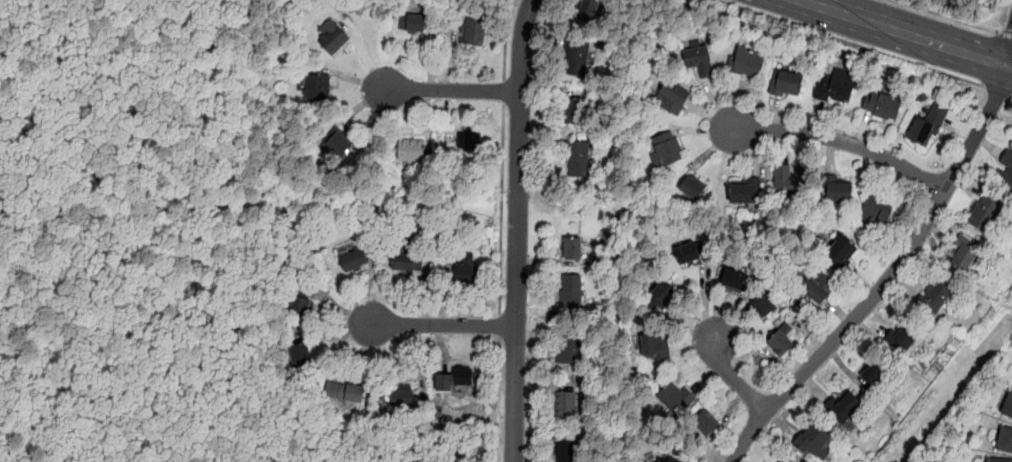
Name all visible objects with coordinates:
building: (586, 10)
road: (944, 16)
building: (412, 23)
building: (345, 26)
building: (474, 32)
road: (909, 34)
road: (1005, 35)
building: (331, 38)
road: (506, 38)
road: (850, 43)
road: (1009, 57)
building: (576, 58)
building: (698, 61)
building: (746, 63)
building: (788, 84)
building: (317, 88)
road: (447, 90)
road: (504, 90)
building: (834, 90)
road: (997, 90)
building: (672, 100)
building: (882, 106)
building: (577, 111)
building: (926, 127)
building: (340, 138)
building: (468, 140)
road: (841, 140)
building: (668, 150)
building: (410, 153)
building: (578, 158)
building: (1005, 169)
building: (790, 181)
building: (691, 189)
building: (838, 191)
building: (743, 193)
park: (583, 204)
park: (346, 205)
road: (501, 208)
building: (876, 210)
building: (984, 214)
park: (135, 228)
road: (517, 230)
building: (573, 247)
road: (185, 249)
building: (688, 252)
building: (840, 253)
building: (961, 256)
building: (353, 258)
building: (407, 262)
building: (466, 269)
road: (888, 277)
building: (733, 280)
building: (819, 287)
building: (572, 292)
building: (661, 297)
building: (934, 297)
building: (764, 305)
building: (299, 307)
road: (443, 326)
road: (499, 326)
building: (904, 336)
building: (780, 345)
building: (570, 348)
building: (653, 351)
building: (300, 358)
building: (873, 372)
road: (733, 378)
building: (454, 379)
building: (346, 395)
building: (402, 397)
building: (675, 399)
road: (499, 400)
building: (566, 404)
building: (1007, 405)
building: (844, 408)
building: (711, 423)
building: (818, 439)
building: (1004, 439)
building: (566, 449)
building: (652, 460)
building: (663, 460)
building: (781, 460)
building: (996, 460)

